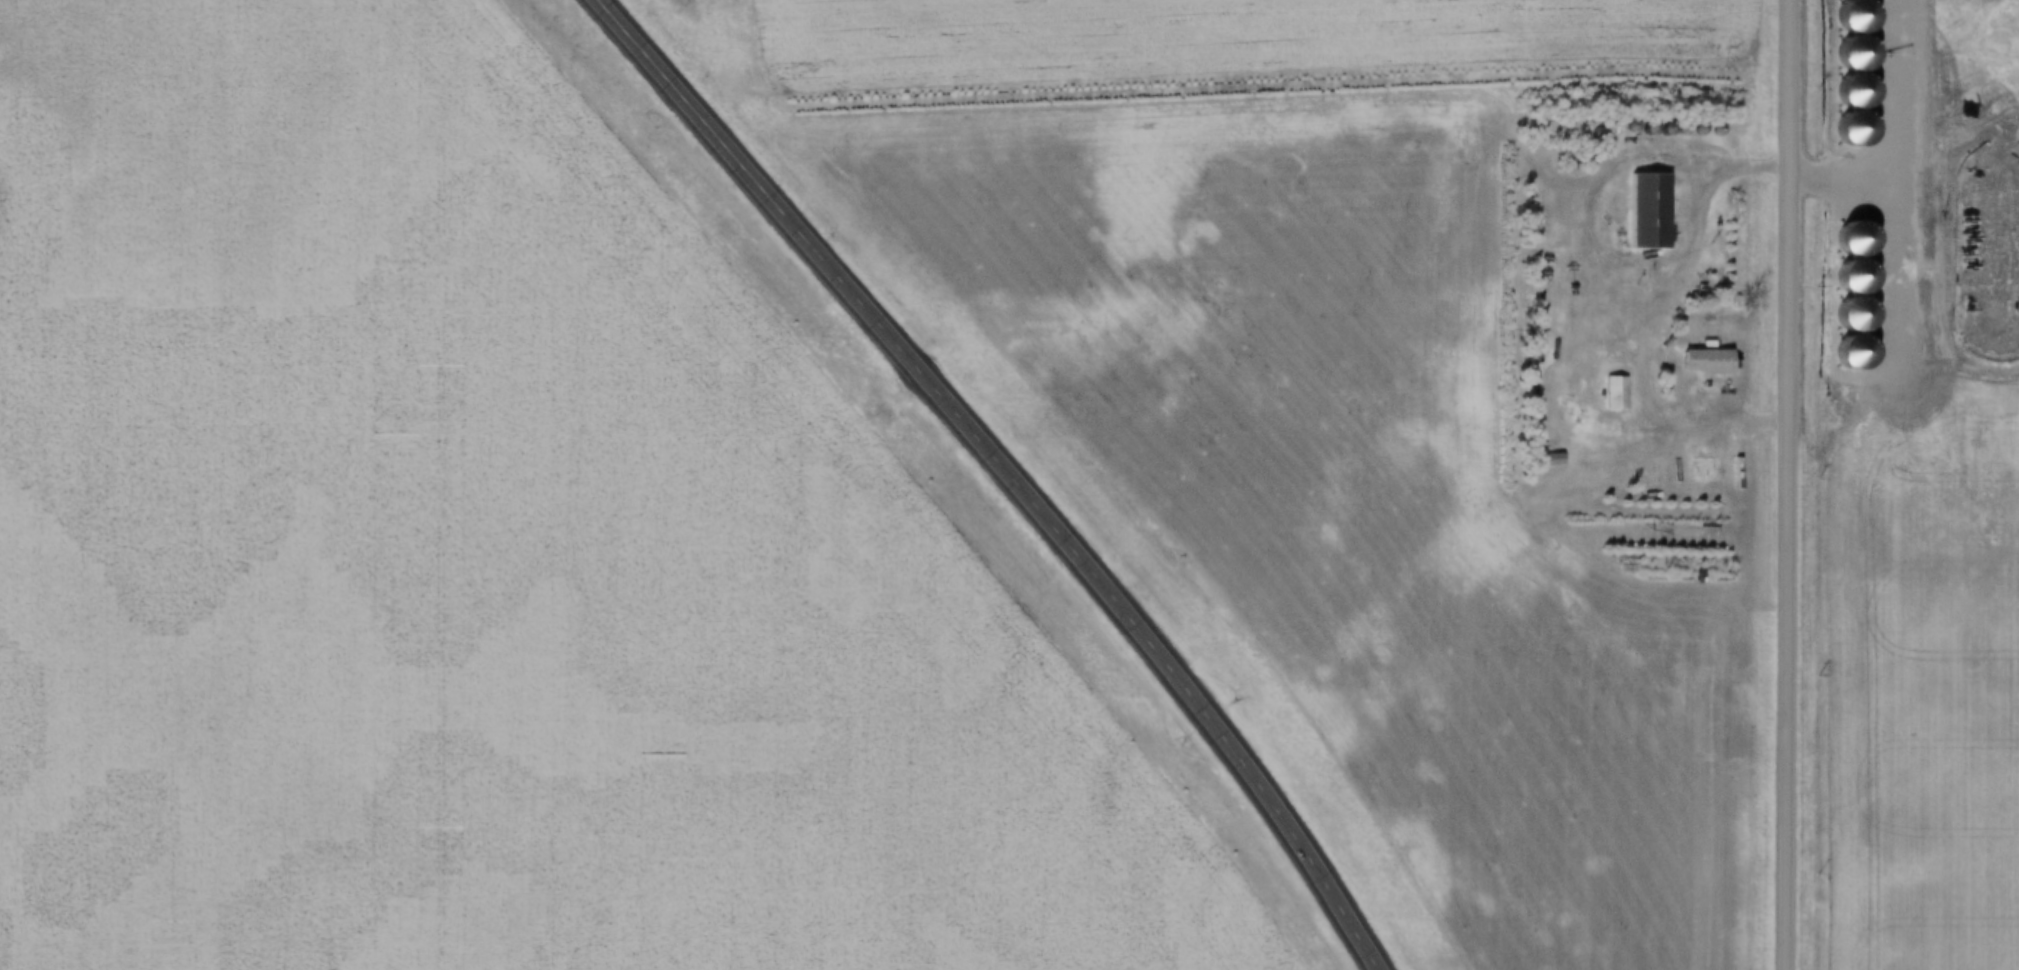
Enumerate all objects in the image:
building: (1619, 128)
silo: (1619, 128)
building: (1670, 131)
silo: (1670, 131)
building: (1688, 131)
silo: (1688, 131)
building: (1706, 131)
silo: (1706, 131)
building: (1634, 132)
silo: (1634, 132)
building: (1651, 132)
silo: (1651, 132)
building: (1587, 136)
silo: (1587, 136)
building: (1636, 215)
road: (1637, 311)
building: (1693, 363)
building: (1607, 394)
building: (1701, 454)
building: (1543, 459)
road: (1010, 471)
road: (1795, 485)

